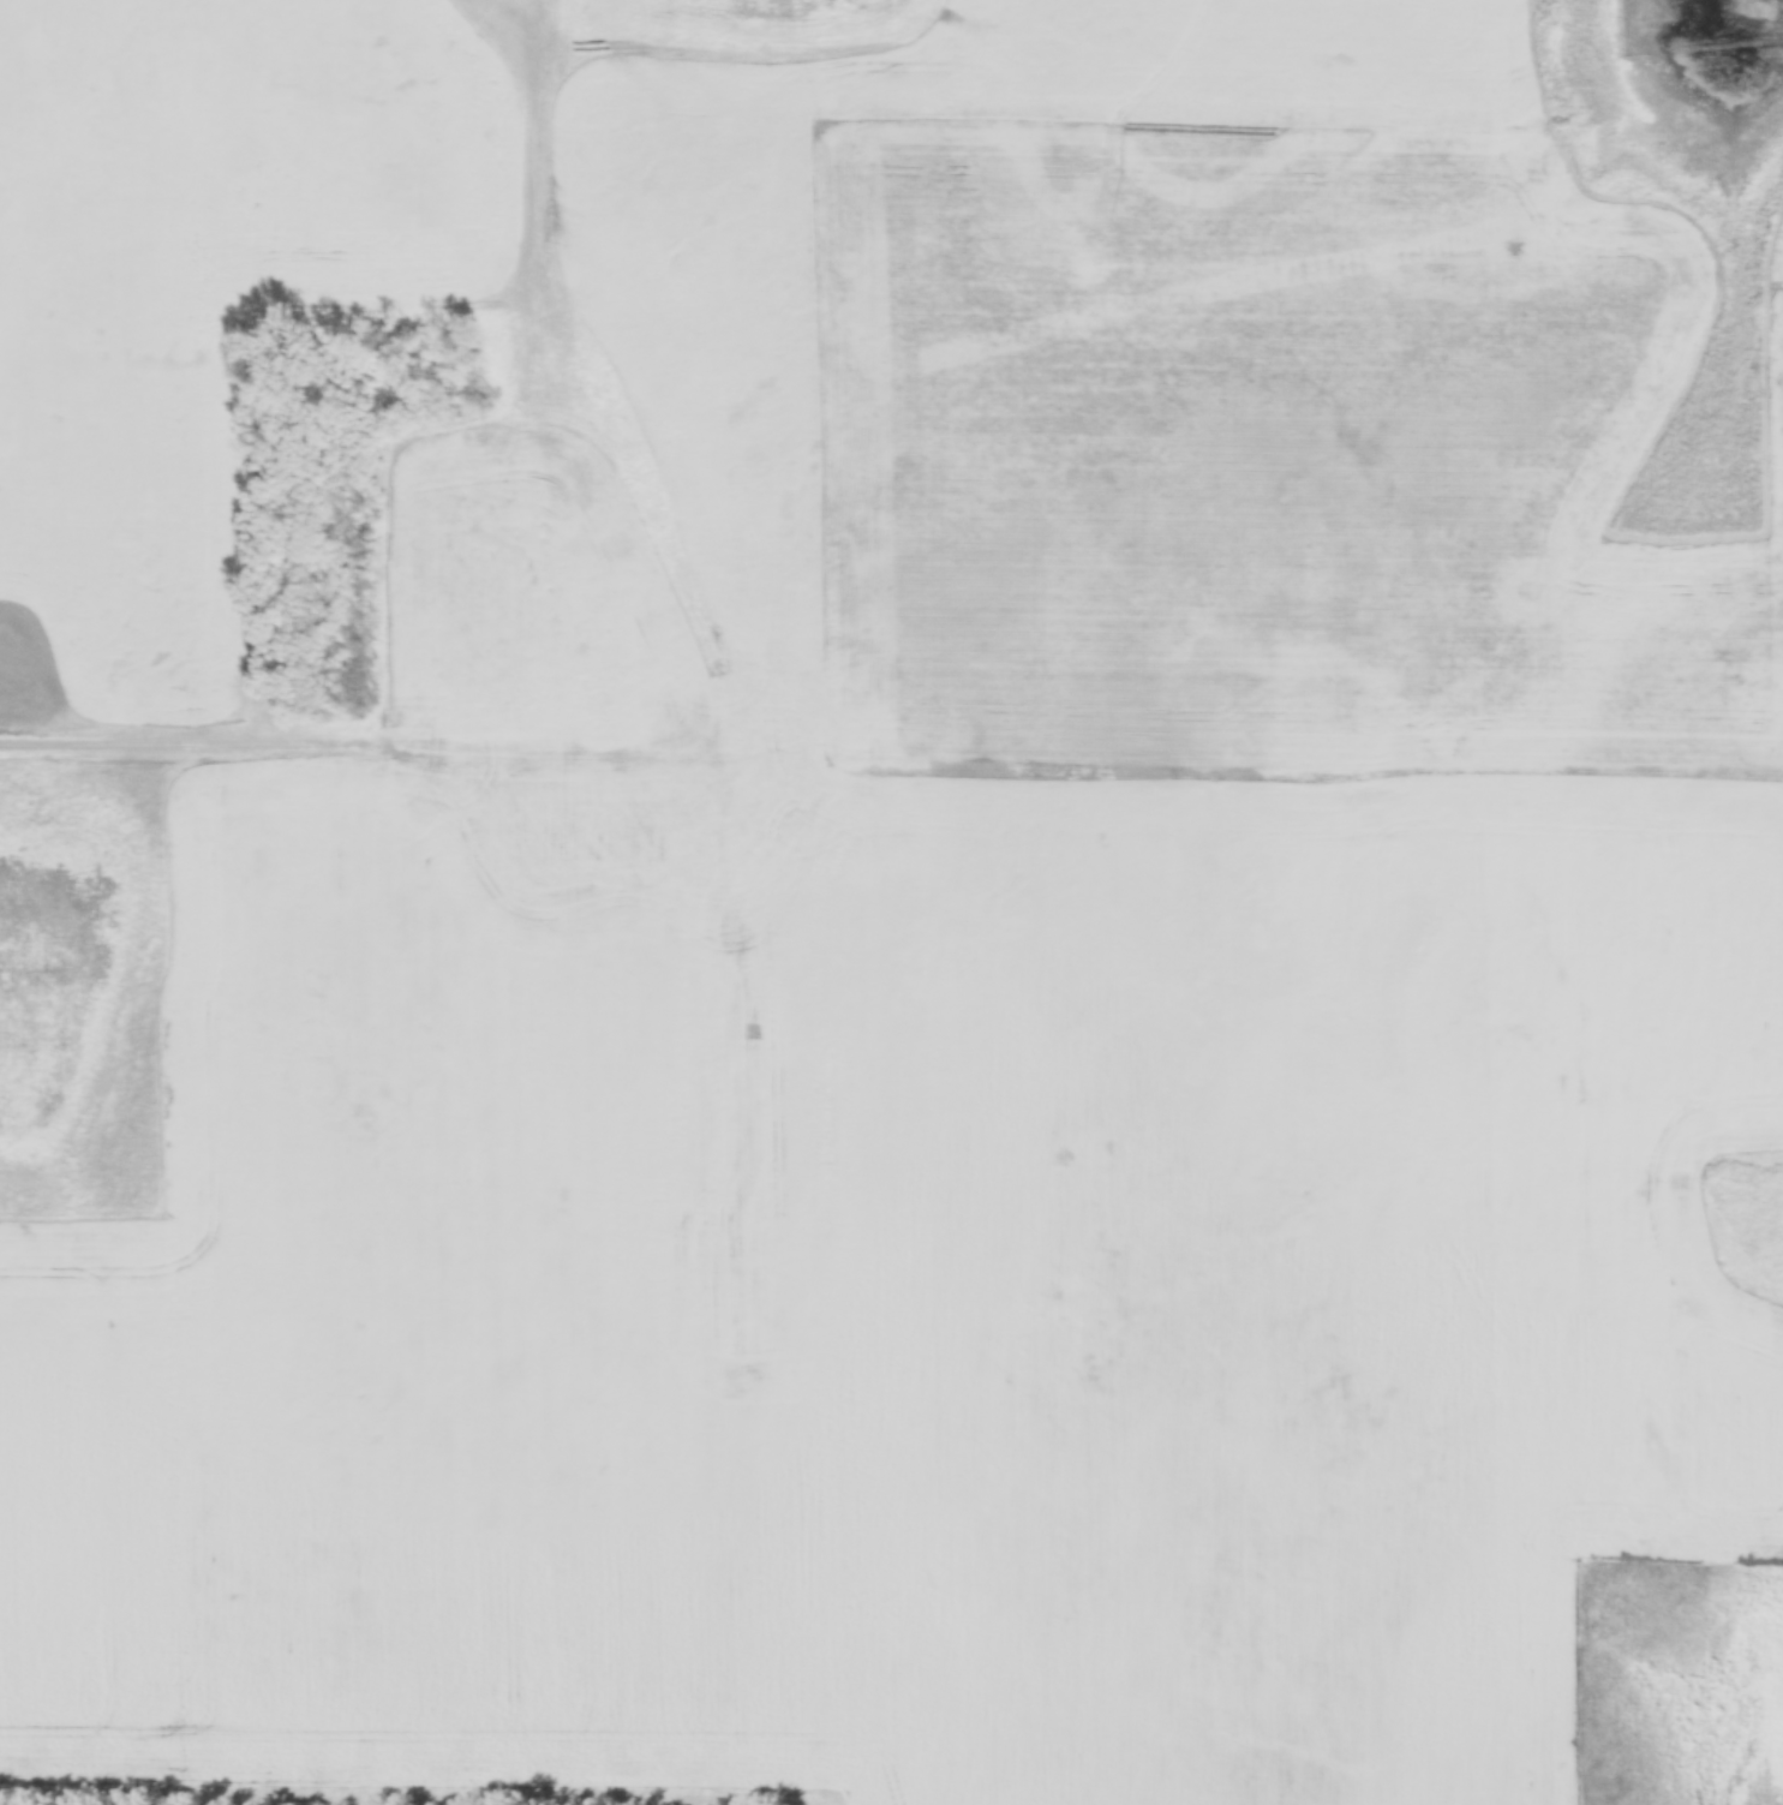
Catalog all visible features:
building: (526, 518)
building: (573, 692)
road: (214, 748)

